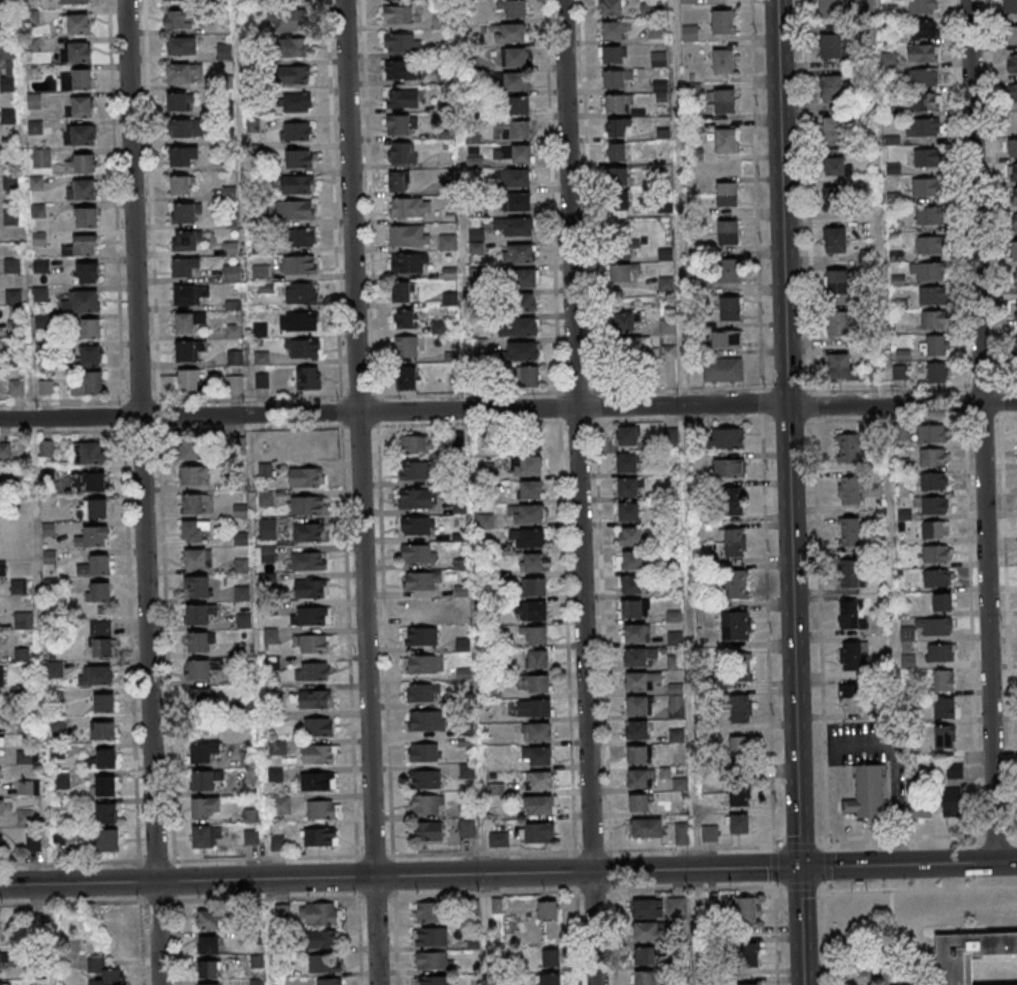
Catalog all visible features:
building: (176, 0)
building: (391, 0)
building: (4, 1)
building: (292, 1)
building: (74, 2)
building: (922, 6)
building: (1010, 6)
building: (610, 7)
building: (834, 8)
building: (513, 9)
building: (647, 11)
building: (397, 15)
building: (291, 19)
building: (180, 20)
building: (439, 21)
building: (722, 21)
building: (74, 23)
building: (924, 28)
building: (612, 30)
building: (509, 33)
building: (690, 33)
building: (1012, 34)
building: (401, 42)
building: (181, 46)
building: (294, 47)
building: (831, 47)
building: (224, 51)
building: (76, 52)
building: (923, 52)
building: (612, 54)
building: (515, 57)
building: (658, 59)
building: (723, 61)
building: (1012, 63)
building: (7, 68)
building: (399, 69)
building: (182, 73)
building: (294, 74)
building: (923, 77)
building: (616, 78)
building: (77, 79)
building: (515, 81)
building: (831, 89)
building: (1015, 93)
building: (402, 98)
building: (177, 102)
building: (296, 102)
building: (924, 102)
building: (617, 103)
building: (519, 105)
building: (80, 107)
road: (240, 112)
building: (400, 124)
building: (925, 127)
building: (617, 128)
building: (186, 129)
building: (511, 129)
building: (832, 130)
building: (296, 131)
building: (79, 135)
building: (725, 140)
building: (1012, 147)
building: (402, 152)
building: (617, 153)
building: (513, 154)
building: (182, 157)
building: (924, 157)
building: (41, 158)
building: (299, 158)
building: (81, 164)
building: (834, 166)
building: (1012, 172)
building: (617, 177)
building: (517, 178)
building: (398, 181)
building: (181, 185)
building: (297, 185)
building: (926, 186)
building: (81, 189)
building: (230, 192)
building: (726, 194)
building: (1014, 196)
building: (832, 198)
building: (520, 202)
building: (618, 205)
building: (410, 208)
building: (295, 211)
building: (185, 212)
building: (448, 215)
building: (930, 215)
building: (85, 216)
building: (231, 221)
building: (1015, 222)
building: (514, 226)
building: (727, 232)
building: (408, 236)
building: (300, 239)
building: (835, 240)
building: (187, 241)
building: (477, 241)
building: (448, 242)
building: (929, 245)
building: (82, 246)
building: (624, 248)
building: (1014, 249)
building: (518, 254)
building: (409, 263)
building: (300, 265)
building: (184, 267)
building: (730, 270)
building: (87, 272)
building: (619, 272)
building: (927, 272)
building: (232, 273)
building: (260, 273)
building: (476, 274)
building: (1016, 277)
building: (521, 278)
building: (836, 281)
building: (401, 292)
building: (301, 293)
building: (189, 295)
building: (13, 297)
building: (932, 297)
building: (81, 301)
building: (522, 302)
building: (729, 308)
building: (1016, 309)
building: (404, 320)
building: (934, 320)
building: (299, 321)
building: (625, 322)
building: (838, 322)
building: (187, 323)
building: (518, 326)
building: (91, 328)
building: (234, 331)
building: (726, 339)
building: (479, 346)
building: (932, 346)
building: (406, 347)
building: (633, 347)
building: (303, 348)
building: (187, 350)
building: (521, 351)
building: (90, 356)
building: (235, 358)
building: (838, 366)
building: (723, 369)
building: (900, 372)
building: (936, 373)
building: (527, 375)
building: (632, 375)
building: (308, 377)
building: (409, 377)
building: (188, 380)
building: (234, 382)
building: (88, 384)
building: (17, 387)
building: (46, 387)
road: (902, 405)
road: (681, 406)
road: (156, 412)
road: (287, 414)
road: (760, 423)
road: (981, 431)
building: (931, 433)
road: (683, 434)
building: (626, 436)
road: (468, 437)
building: (725, 438)
building: (415, 444)
building: (848, 448)
building: (189, 449)
building: (4, 450)
building: (90, 453)
building: (933, 457)
building: (626, 463)
building: (526, 465)
building: (727, 467)
building: (415, 470)
building: (194, 475)
building: (306, 476)
building: (933, 481)
building: (94, 482)
building: (628, 487)
building: (531, 489)
building: (849, 490)
road: (141, 492)
road: (360, 492)
road: (578, 492)
road: (789, 492)
building: (266, 498)
building: (415, 498)
building: (730, 501)
building: (192, 503)
building: (306, 505)
building: (931, 505)
building: (93, 509)
building: (628, 511)
building: (526, 514)
building: (486, 521)
building: (416, 525)
building: (268, 528)
building: (936, 529)
building: (194, 530)
building: (307, 532)
building: (849, 532)
building: (630, 536)
building: (93, 537)
building: (526, 538)
building: (733, 542)
building: (418, 554)
building: (937, 554)
building: (197, 558)
building: (628, 560)
building: (308, 561)
building: (535, 562)
building: (95, 565)
building: (241, 565)
building: (3, 570)
building: (849, 573)
building: (937, 578)
building: (422, 581)
building: (631, 584)
building: (737, 584)
building: (197, 586)
building: (535, 586)
building: (311, 589)
building: (98, 591)
building: (941, 601)
building: (632, 608)
building: (419, 610)
building: (530, 611)
building: (197, 615)
building: (848, 615)
building: (314, 616)
building: (23, 620)
building: (244, 621)
building: (735, 625)
building: (934, 626)
building: (100, 628)
building: (634, 633)
building: (907, 633)
building: (535, 635)
building: (420, 638)
building: (197, 643)
building: (312, 644)
building: (463, 645)
building: (101, 648)
building: (940, 652)
building: (850, 656)
building: (635, 657)
building: (537, 659)
building: (424, 665)
building: (740, 667)
building: (198, 671)
building: (312, 672)
building: (97, 676)
building: (1, 679)
building: (943, 680)
building: (635, 681)
building: (533, 684)
building: (494, 691)
building: (422, 694)
building: (849, 698)
building: (314, 699)
road: (41, 701)
building: (201, 701)
building: (676, 701)
building: (104, 702)
building: (637, 705)
building: (945, 708)
building: (533, 709)
building: (740, 709)
building: (426, 721)
building: (318, 727)
building: (103, 730)
building: (636, 730)
building: (539, 733)
building: (466, 737)
building: (944, 737)
building: (2, 742)
building: (741, 749)
building: (203, 751)
building: (425, 752)
building: (319, 753)
building: (636, 755)
building: (27, 757)
building: (540, 757)
building: (102, 760)
building: (955, 771)
building: (0, 773)
building: (665, 773)
building: (425, 779)
building: (640, 779)
building: (201, 780)
building: (61, 781)
building: (318, 781)
building: (539, 781)
building: (680, 784)
building: (104, 785)
building: (28, 787)
building: (248, 787)
building: (868, 792)
building: (739, 796)
building: (639, 802)
building: (951, 802)
building: (426, 804)
building: (2, 805)
building: (280, 805)
building: (539, 805)
building: (204, 807)
building: (323, 809)
building: (920, 809)
building: (105, 813)
building: (25, 817)
building: (738, 824)
building: (647, 828)
building: (426, 831)
building: (682, 833)
building: (537, 834)
building: (204, 836)
building: (321, 837)
building: (498, 839)
building: (107, 840)
building: (277, 843)
building: (0, 846)
road: (707, 848)
road: (372, 856)
traffic signals: (799, 868)
road: (508, 873)
road: (689, 889)
road: (222, 899)
building: (496, 905)
building: (677, 906)
building: (646, 908)
building: (282, 910)
building: (547, 910)
building: (747, 910)
building: (426, 912)
building: (320, 913)
building: (209, 919)
road: (695, 927)
road: (486, 929)
road: (268, 932)
building: (648, 932)
building: (430, 937)
building: (324, 939)
building: (208, 945)
building: (747, 953)
building: (967, 955)
building: (644, 956)
building: (551, 959)
building: (433, 961)
building: (0, 962)
building: (325, 963)
building: (209, 969)
building: (102, 972)
building: (645, 978)
building: (549, 979)
building: (432, 980)
building: (329, 981)
building: (3, 983)
building: (209, 984)
building: (746, 984)

